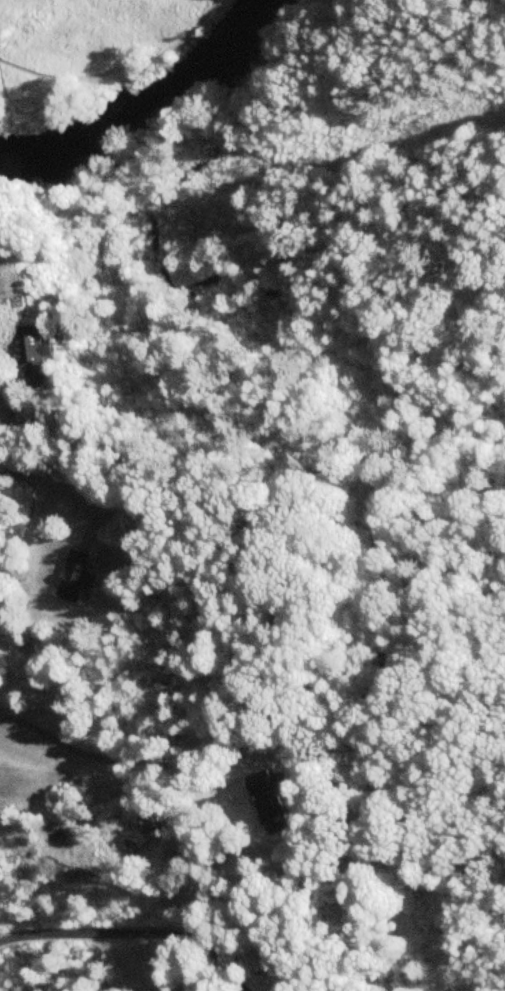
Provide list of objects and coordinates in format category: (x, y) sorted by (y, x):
road: (114, 64)
road: (31, 102)
river: (154, 113)
building: (34, 355)
road: (63, 485)
building: (147, 512)
building: (76, 577)
road: (122, 763)
building: (271, 803)
road: (132, 933)

